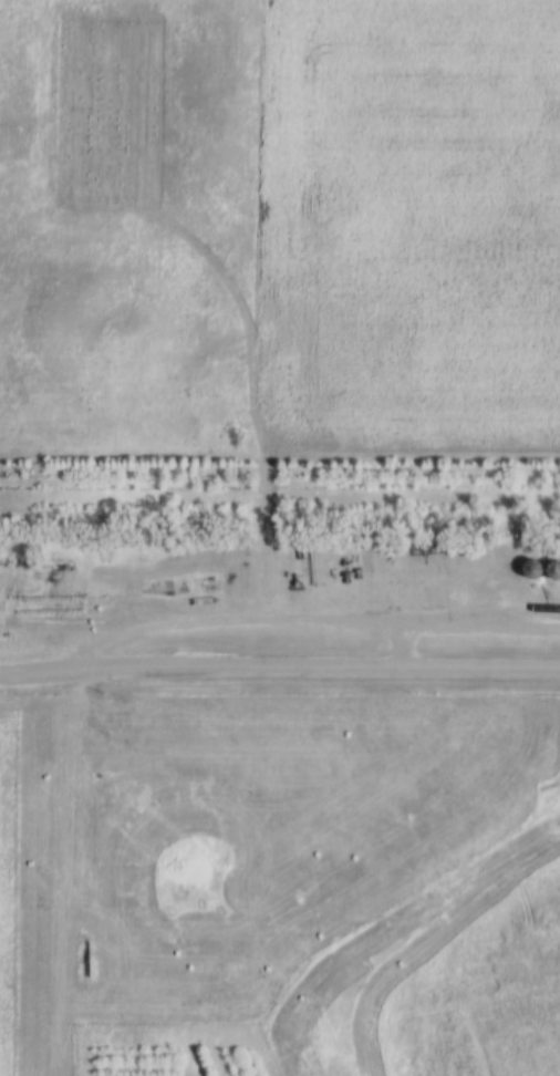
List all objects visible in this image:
building: (533, 571)
silo: (533, 571)
building: (554, 572)
silo: (554, 572)
road: (313, 619)
road: (279, 670)
building: (163, 782)
building: (128, 787)

